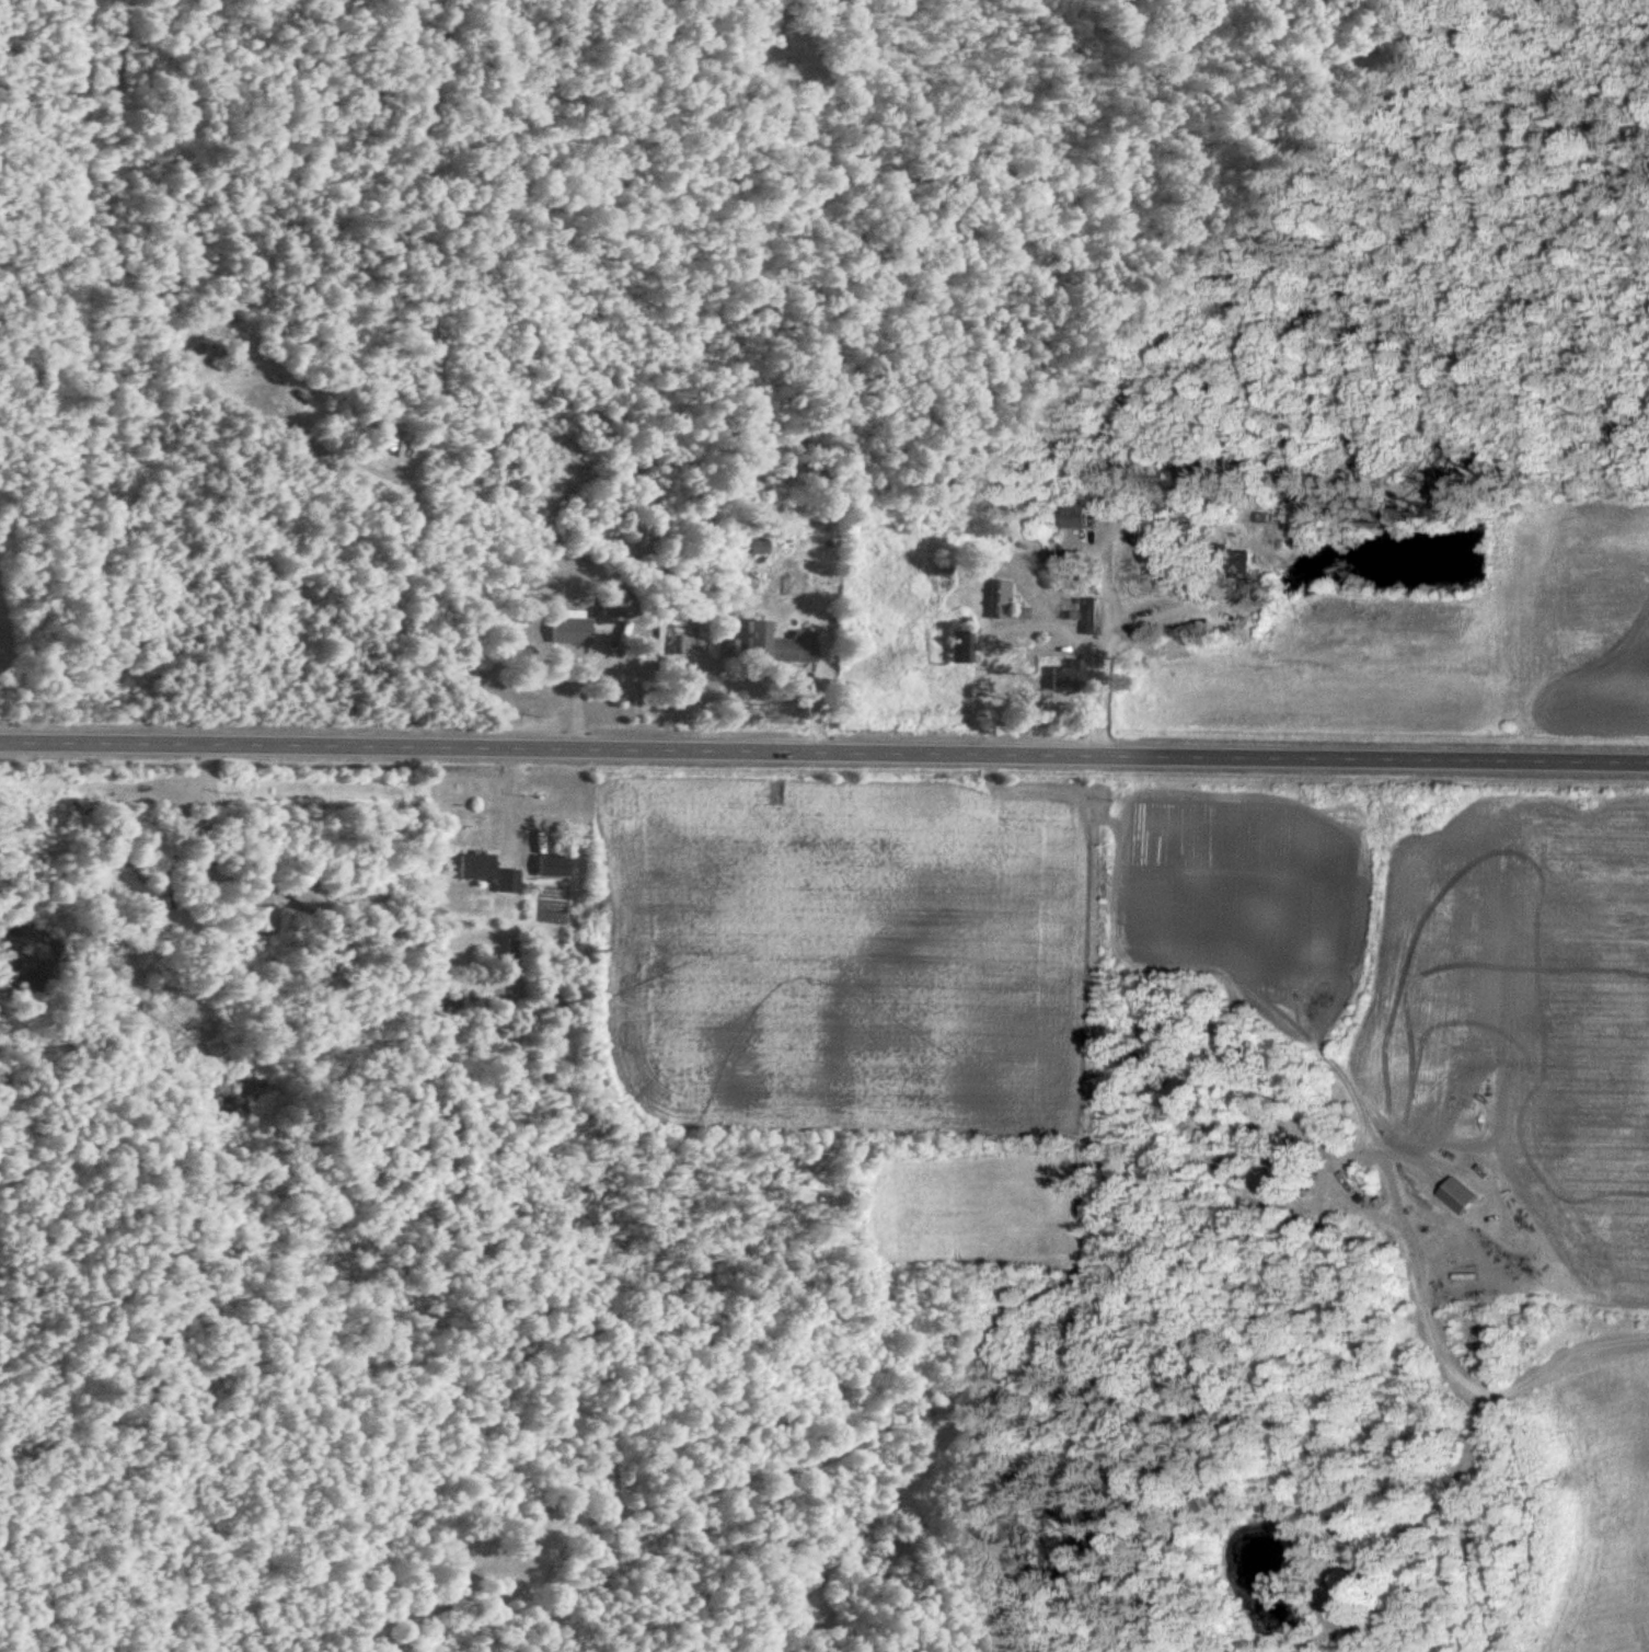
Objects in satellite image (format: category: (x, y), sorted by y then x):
building: (219, 363)
building: (1076, 516)
building: (756, 543)
building: (1004, 600)
building: (1020, 613)
building: (1093, 617)
building: (572, 631)
building: (759, 640)
building: (962, 647)
building: (797, 649)
building: (727, 650)
building: (1069, 677)
road: (1084, 699)
road: (824, 755)
building: (175, 779)
building: (554, 865)
building: (477, 867)
building: (509, 881)
building: (313, 897)

